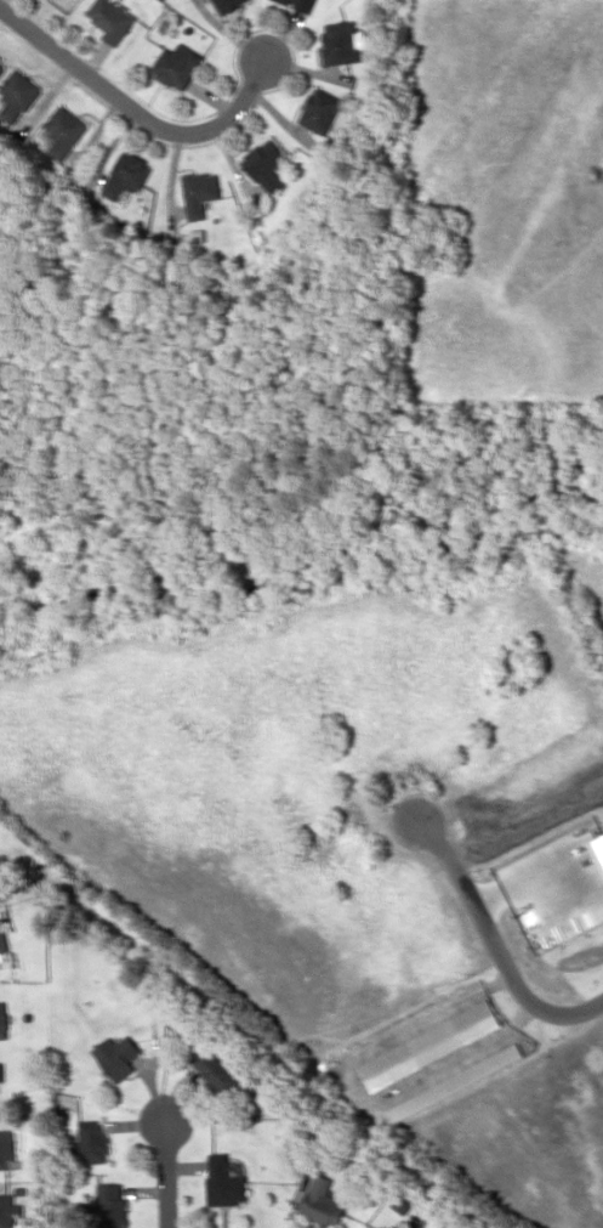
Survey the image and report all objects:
building: (300, 4)
building: (229, 5)
building: (112, 19)
building: (342, 43)
building: (2, 63)
building: (177, 66)
building: (16, 97)
road: (136, 109)
building: (320, 111)
building: (63, 131)
building: (266, 166)
building: (125, 176)
building: (199, 193)
road: (496, 944)
building: (2, 949)
building: (2, 1020)
building: (428, 1046)
building: (115, 1057)
building: (0, 1073)
building: (215, 1073)
building: (91, 1142)
building: (5, 1148)
road: (169, 1175)
building: (223, 1182)
building: (322, 1202)
building: (400, 1202)
building: (109, 1205)
building: (5, 1211)
building: (380, 1227)

